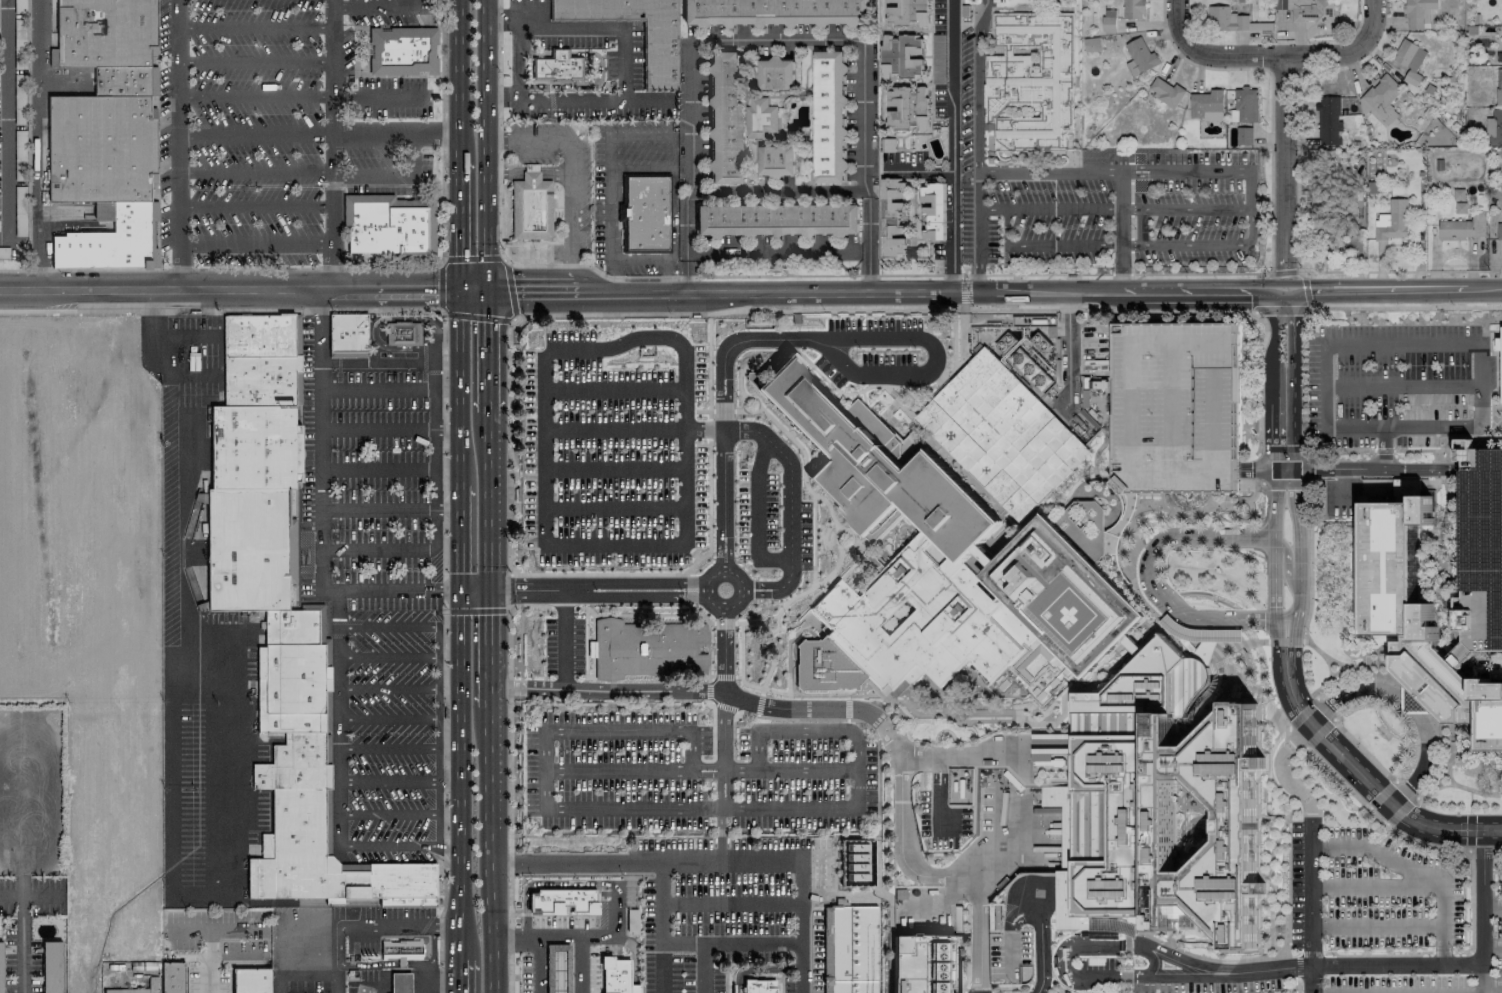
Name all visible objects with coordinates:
parking lot: (992, 2)
road: (374, 6)
building: (1134, 9)
building: (778, 12)
building: (1314, 12)
road: (442, 13)
building: (908, 13)
building: (1419, 13)
road: (501, 18)
building: (1226, 19)
building: (1109, 20)
road: (257, 28)
road: (621, 30)
building: (103, 33)
road: (745, 44)
building: (1091, 44)
building: (403, 50)
road: (1348, 54)
building: (659, 55)
road: (1211, 55)
building: (901, 56)
building: (1140, 57)
building: (1499, 57)
building: (1410, 59)
road: (257, 60)
parking lot: (623, 64)
building: (557, 66)
road: (596, 68)
road: (517, 73)
road: (367, 74)
building: (776, 74)
road: (459, 78)
building: (121, 80)
building: (1029, 80)
building: (1499, 85)
building: (1166, 91)
road: (378, 96)
road: (257, 97)
road: (570, 98)
building: (1381, 99)
building: (1246, 104)
building: (1207, 105)
building: (723, 117)
building: (830, 117)
building: (760, 118)
building: (1328, 120)
road: (4, 122)
road: (181, 122)
road: (333, 122)
building: (1494, 128)
road: (320, 134)
building: (1244, 135)
road: (640, 136)
building: (101, 137)
road: (38, 141)
road: (488, 143)
road: (977, 144)
road: (951, 145)
building: (776, 161)
road: (641, 168)
road: (917, 169)
road: (1203, 170)
road: (1284, 170)
road: (256, 171)
road: (395, 172)
road: (504, 173)
road: (1049, 173)
road: (530, 174)
road: (553, 174)
road: (393, 176)
road: (442, 184)
road: (779, 189)
road: (1121, 190)
parking lot: (1097, 201)
road: (256, 204)
road: (1049, 209)
road: (1184, 209)
building: (933, 211)
road: (610, 212)
building: (645, 213)
road: (673, 213)
building: (777, 220)
building: (1392, 220)
road: (460, 222)
building: (526, 222)
building: (385, 224)
building: (131, 226)
road: (1004, 226)
road: (1121, 226)
road: (1141, 226)
road: (442, 227)
building: (1499, 229)
road: (568, 230)
road: (1201, 241)
road: (869, 242)
road: (1063, 243)
road: (257, 244)
road: (773, 250)
road: (473, 258)
road: (639, 260)
road: (1121, 266)
road: (166, 269)
road: (79, 270)
road: (1285, 271)
road: (688, 273)
road: (931, 274)
road: (1392, 280)
road: (1202, 282)
road: (230, 285)
road: (442, 285)
traffic signals: (460, 288)
road: (474, 288)
traffic signals: (488, 288)
road: (804, 289)
road: (1377, 289)
road: (510, 290)
road: (1305, 290)
road: (964, 291)
road: (1203, 291)
road: (1392, 297)
road: (1201, 300)
road: (1405, 307)
road: (1056, 309)
road: (852, 310)
road: (1186, 311)
road: (1282, 311)
road: (220, 312)
road: (655, 314)
road: (442, 319)
road: (474, 320)
road: (1263, 325)
road: (374, 326)
building: (404, 333)
building: (350, 335)
road: (443, 337)
road: (182, 338)
building: (1040, 342)
road: (489, 349)
parking lot: (875, 351)
road: (1068, 352)
road: (348, 357)
building: (258, 358)
parking lot: (189, 362)
road: (403, 362)
road: (926, 362)
building: (1501, 364)
road: (425, 365)
road: (338, 367)
road: (190, 376)
road: (444, 381)
parking lot: (1397, 383)
road: (461, 385)
road: (723, 385)
road: (1398, 386)
road: (378, 388)
road: (1494, 389)
road: (615, 390)
road: (1259, 397)
road: (1284, 397)
road: (1445, 406)
building: (1176, 407)
parking garage: (1176, 407)
road: (1497, 408)
road: (701, 410)
road: (722, 410)
road: (740, 410)
road: (1492, 410)
road: (1302, 411)
road: (709, 420)
road: (444, 427)
road: (1475, 428)
road: (615, 429)
road: (391, 430)
building: (1002, 433)
road: (790, 434)
road: (321, 438)
road: (709, 438)
road: (1472, 438)
building: (257, 446)
road: (507, 448)
parking lot: (612, 448)
road: (1383, 449)
road: (1425, 450)
road: (1381, 451)
road: (435, 454)
road: (1280, 454)
road: (804, 463)
road: (443, 466)
road: (614, 467)
road: (1302, 468)
road: (1450, 468)
road: (378, 470)
road: (1367, 470)
road: (1262, 471)
building: (877, 472)
road: (542, 476)
road: (790, 486)
road: (1284, 488)
road: (489, 501)
road: (709, 502)
road: (1234, 503)
road: (443, 505)
road: (391, 509)
road: (613, 509)
road: (757, 509)
road: (828, 510)
parking lot: (771, 524)
road: (824, 528)
road: (461, 537)
road: (1124, 537)
road: (444, 546)
road: (856, 546)
road: (719, 547)
road: (726, 547)
road: (824, 547)
road: (379, 548)
building: (1482, 548)
parking garage: (1482, 548)
building: (248, 550)
road: (1284, 561)
road: (1272, 568)
road: (1296, 568)
road: (832, 569)
road: (1152, 572)
road: (608, 574)
road: (708, 579)
road: (829, 579)
road: (630, 581)
road: (1309, 585)
road: (697, 586)
road: (762, 586)
road: (511, 587)
road: (392, 590)
traffic signals: (462, 590)
road: (444, 591)
traffic signals: (490, 591)
road: (517, 591)
road: (690, 591)
road: (763, 594)
road: (639, 597)
road: (562, 606)
road: (477, 609)
road: (641, 614)
helipad: (1078, 614)
building: (1417, 618)
building: (973, 619)
road: (349, 622)
road: (511, 622)
road: (723, 622)
road: (752, 623)
road: (326, 624)
road: (789, 625)
road: (390, 626)
road: (765, 629)
road: (346, 635)
road: (559, 641)
road: (1283, 641)
parking lot: (564, 644)
building: (648, 647)
road: (489, 648)
building: (590, 649)
road: (723, 651)
road: (1215, 656)
road: (390, 658)
road: (772, 659)
road: (1120, 663)
road: (727, 675)
building: (1187, 683)
road: (509, 686)
road: (390, 687)
road: (442, 687)
road: (762, 687)
road: (1254, 688)
road: (710, 689)
road: (1403, 689)
road: (666, 691)
building: (1131, 695)
road: (760, 701)
road: (1407, 704)
road: (847, 706)
road: (1324, 707)
road: (723, 708)
road: (1300, 711)
road: (982, 713)
road: (390, 718)
road: (340, 719)
road: (1320, 733)
road: (439, 737)
road: (1296, 737)
road: (389, 747)
road: (1366, 750)
road: (489, 752)
road: (959, 752)
road: (855, 753)
road: (542, 756)
parking lot: (208, 757)
road: (170, 758)
road: (707, 766)
road: (617, 767)
parking lot: (616, 769)
road: (1281, 769)
building: (295, 770)
road: (460, 773)
road: (510, 775)
parking lot: (803, 775)
road: (1361, 776)
road: (443, 777)
road: (400, 781)
road: (1451, 782)
road: (1345, 787)
road: (938, 789)
road: (1258, 789)
road: (1406, 789)
road: (1485, 792)
road: (1381, 794)
road: (899, 804)
road: (809, 808)
road: (1401, 811)
road: (389, 812)
parking lot: (940, 812)
road: (443, 813)
building: (1162, 819)
building: (1063, 820)
building: (1225, 824)
building: (1093, 825)
road: (1389, 827)
road: (1468, 830)
road: (718, 836)
building: (1113, 839)
road: (1419, 843)
road: (1273, 845)
road: (1258, 846)
road: (997, 847)
road: (399, 848)
road: (443, 849)
road: (1483, 849)
road: (1501, 849)
road: (640, 859)
road: (689, 859)
building: (854, 862)
road: (509, 863)
road: (1414, 869)
road: (20, 881)
building: (402, 884)
road: (547, 884)
road: (801, 887)
road: (1374, 888)
road: (1287, 891)
road: (1308, 893)
road: (489, 896)
building: (563, 901)
road: (730, 902)
parking lot: (722, 904)
road: (1472, 906)
road: (1491, 907)
road: (1259, 913)
road: (446, 922)
road: (440, 923)
road: (386, 924)
road: (1010, 924)
road: (214, 926)
road: (616, 926)
road: (1376, 926)
road: (1171, 933)
road: (510, 935)
road: (564, 935)
road: (1153, 938)
road: (725, 942)
road: (337, 944)
road: (1491, 945)
building: (400, 949)
building: (848, 949)
road: (1045, 950)
road: (1226, 950)
road: (1444, 952)
parking lot: (1009, 953)
road: (1297, 954)
road: (431, 955)
road: (1289, 955)
road: (1377, 956)
road: (203, 959)
road: (631, 959)
parking lot: (810, 959)
road: (1060, 959)
road: (1123, 960)
road: (1210, 960)
road: (399, 963)
road: (385, 964)
road: (538, 964)
building: (923, 964)
road: (1151, 964)
road: (356, 965)
road: (1461, 965)
building: (51, 966)
building: (556, 967)
building: (0, 968)
road: (760, 969)
road: (1277, 969)
road: (301, 973)
road: (459, 975)
building: (615, 975)
building: (172, 977)
road: (338, 978)
road: (422, 978)
road: (1480, 978)
building: (251, 980)
road: (1309, 980)
building: (401, 983)
road: (440, 983)
building: (139, 985)
road: (1491, 985)
building: (757, 986)
road: (1297, 986)
road: (1395, 988)
road: (353, 990)
road: (1124, 990)

